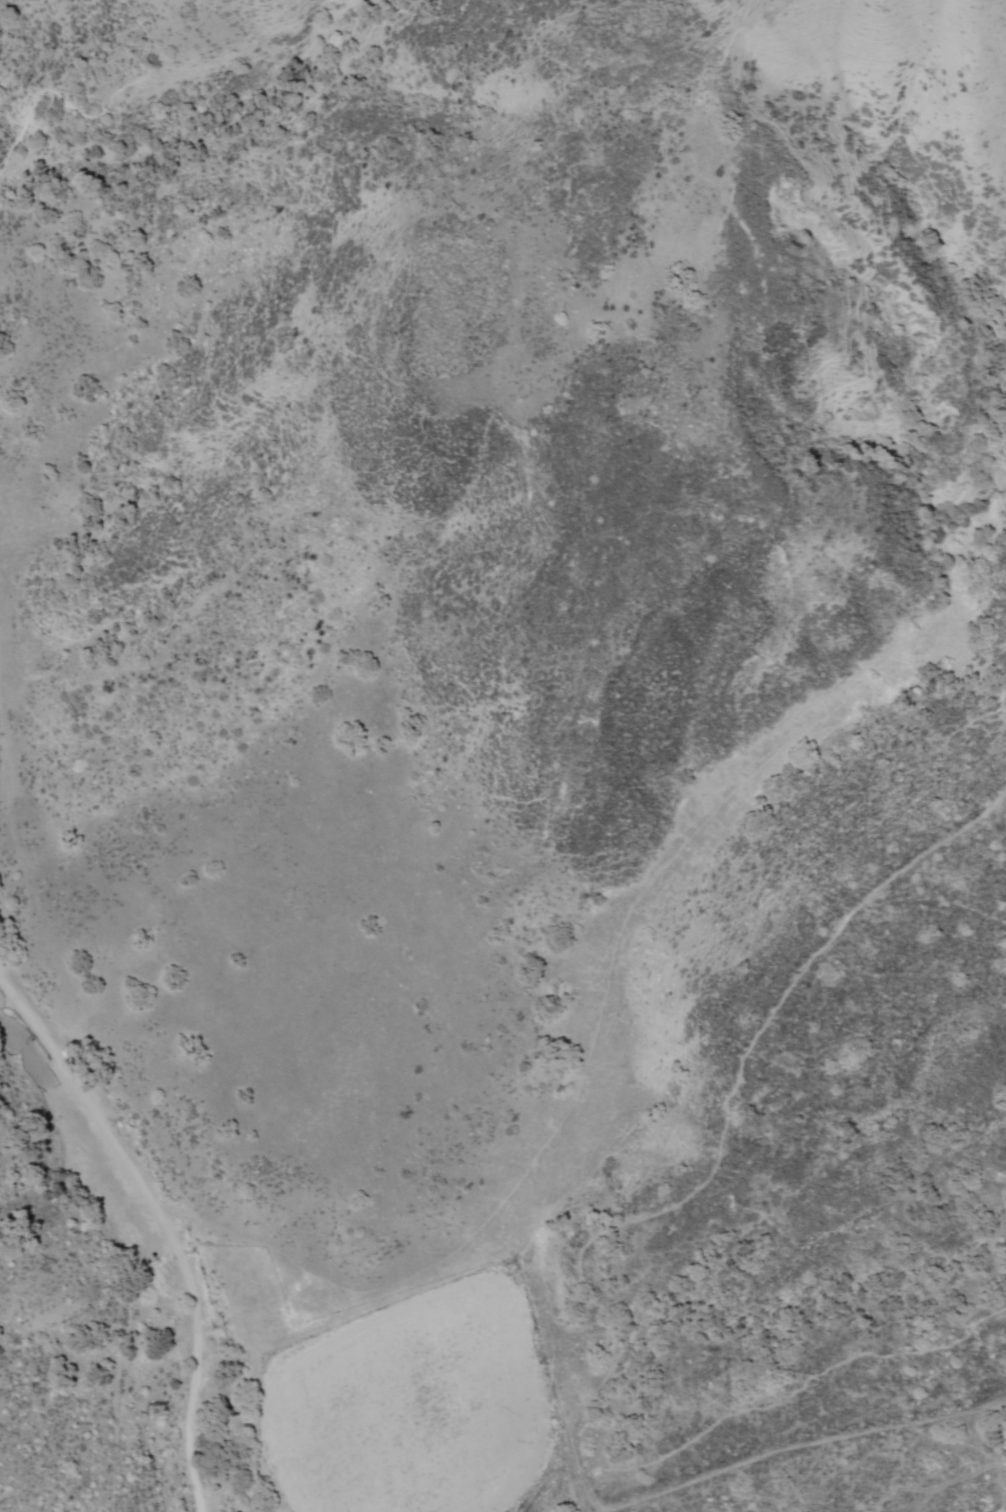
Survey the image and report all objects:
road: (165, 1221)
crop: (409, 1397)

